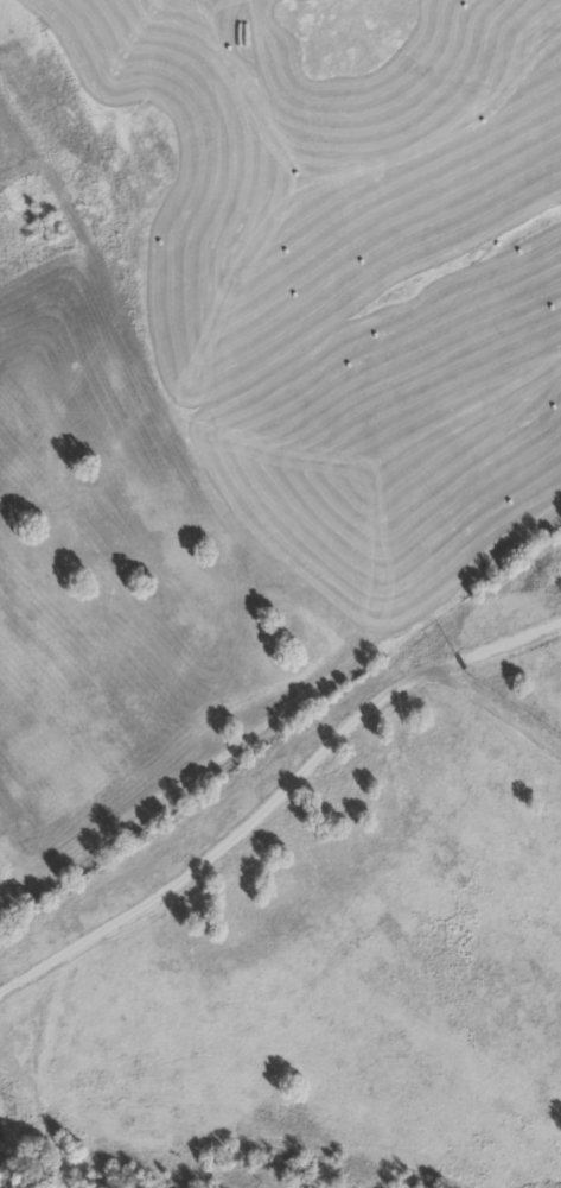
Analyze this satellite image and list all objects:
road: (285, 820)

